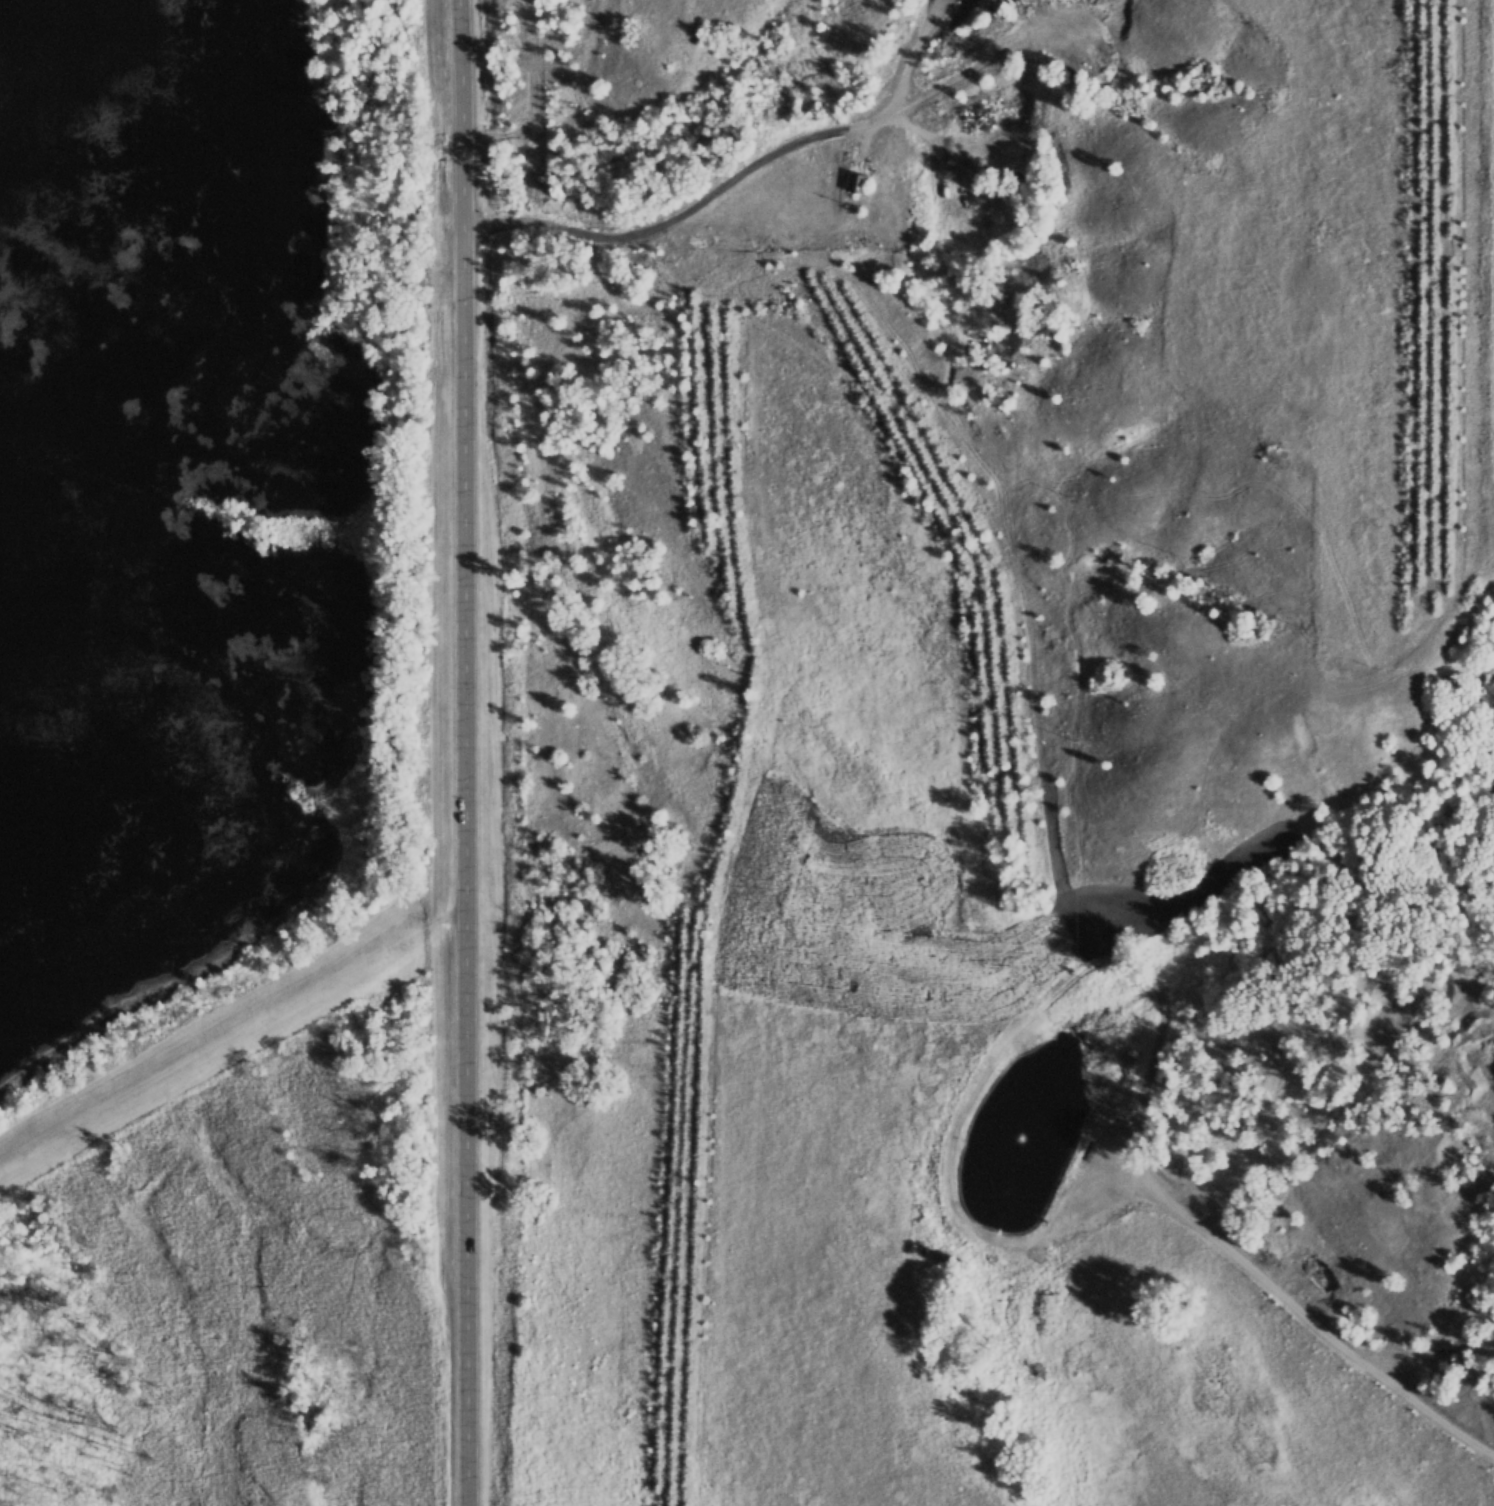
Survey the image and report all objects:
building: (856, 184)
road: (467, 752)
road: (232, 1033)
road: (308, 1353)

